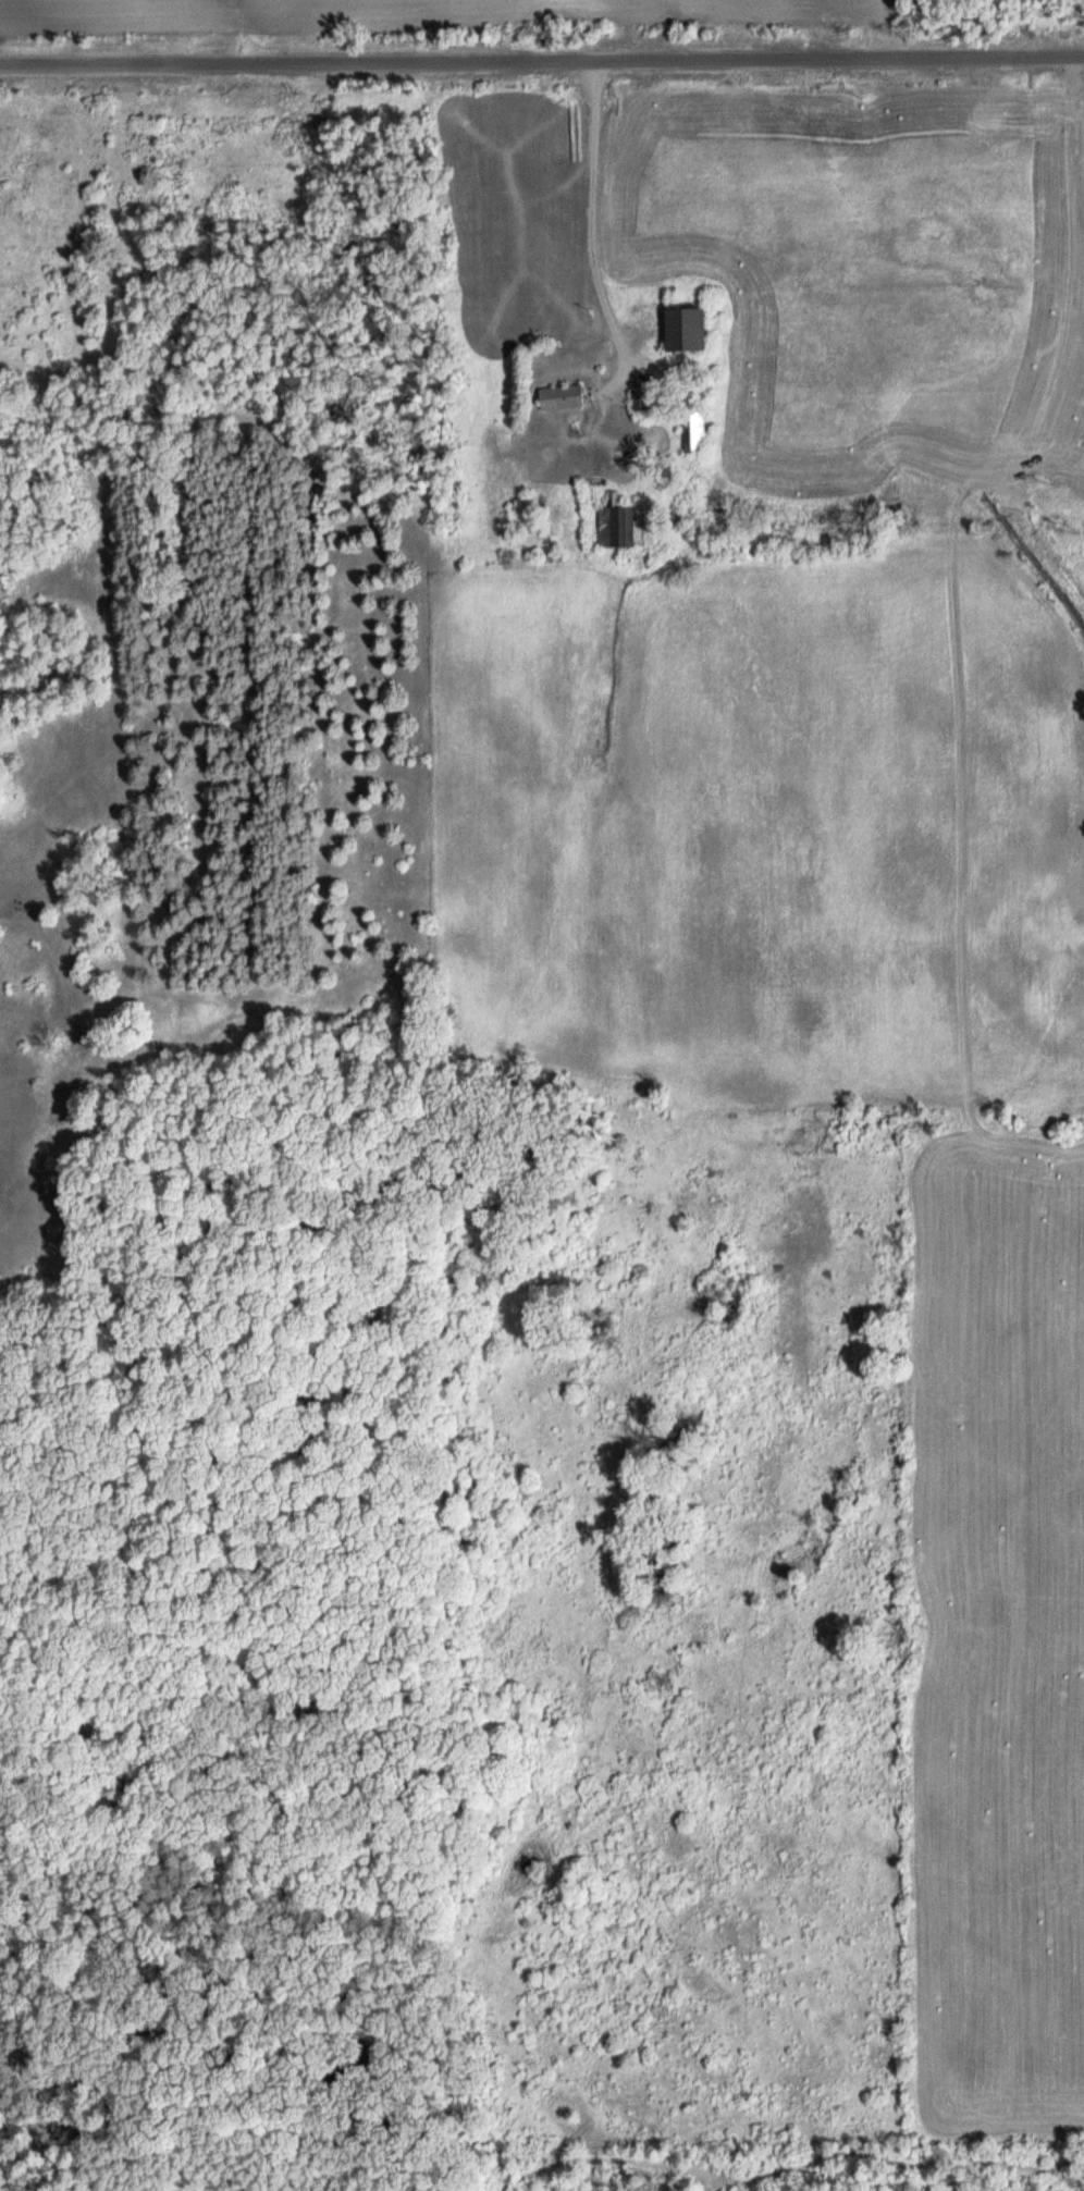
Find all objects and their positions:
road: (542, 60)
building: (690, 330)
building: (643, 397)
building: (564, 398)

